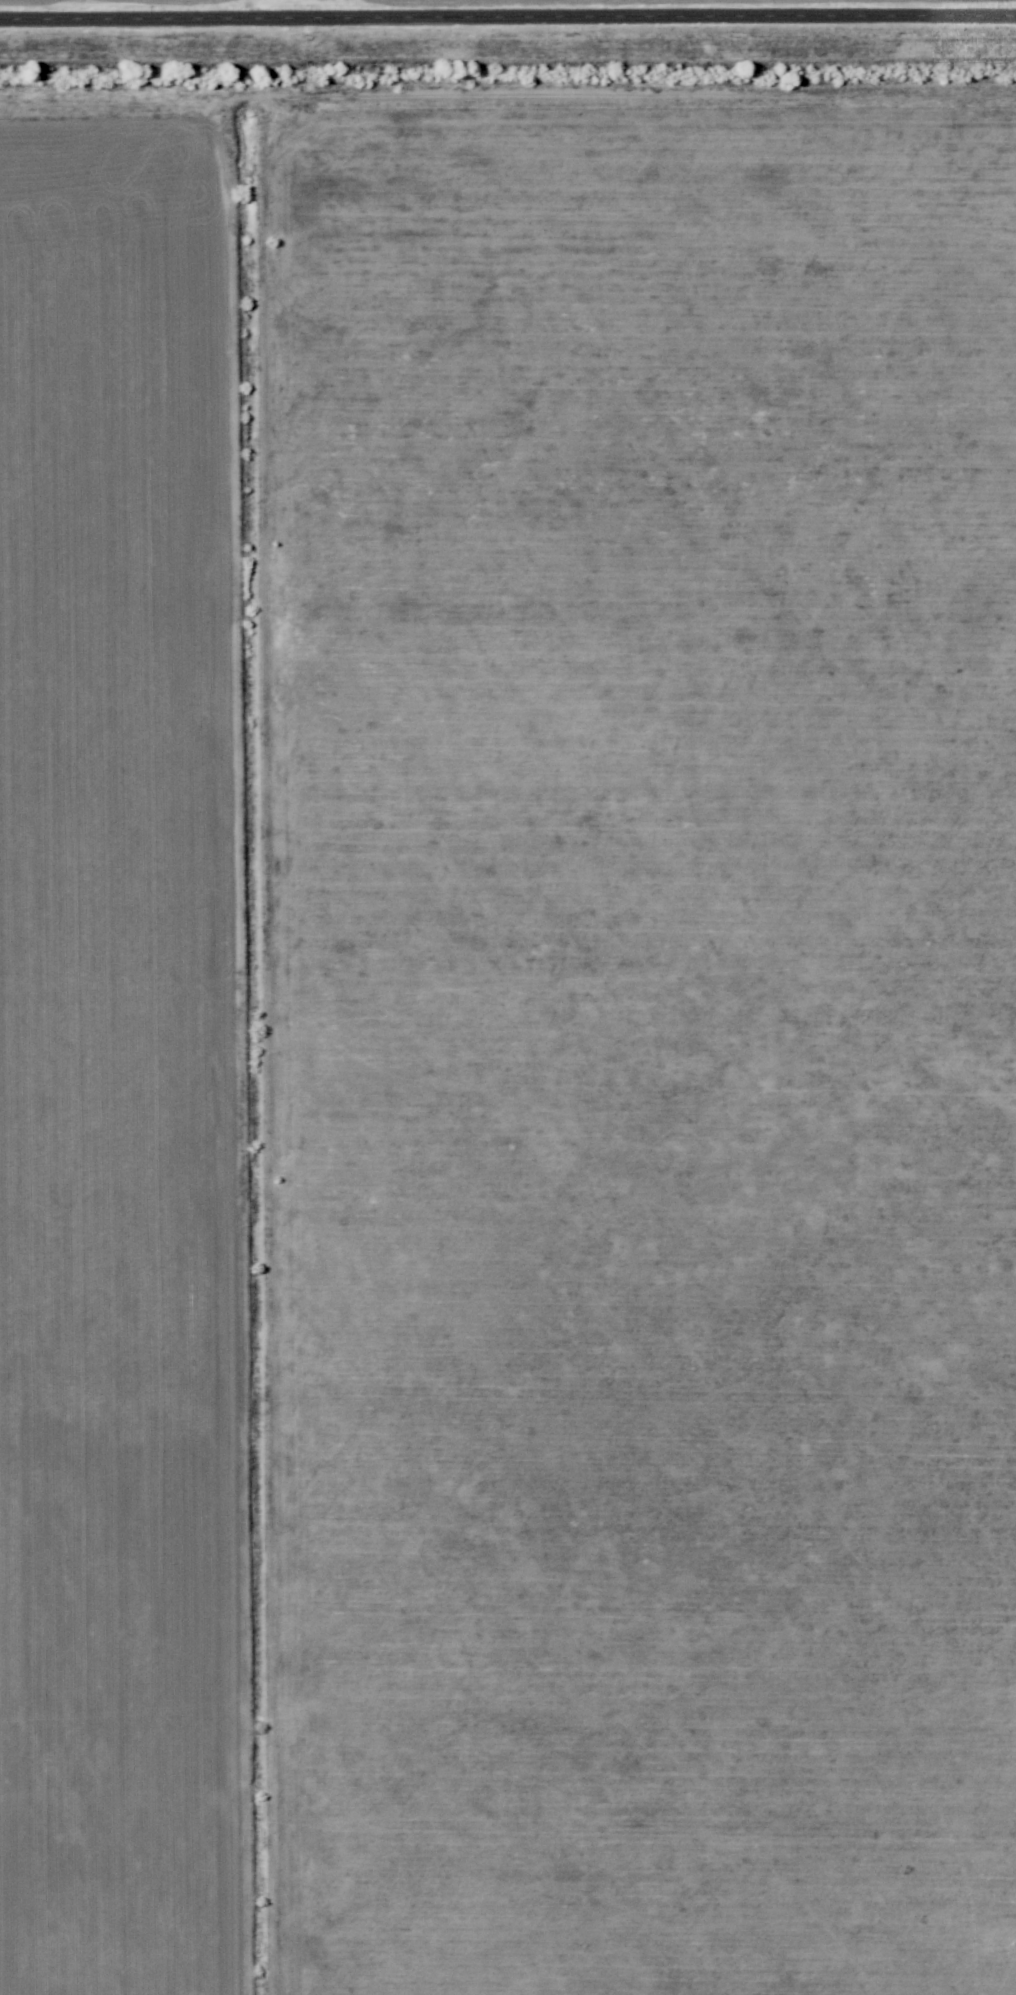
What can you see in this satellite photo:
road: (507, 17)

